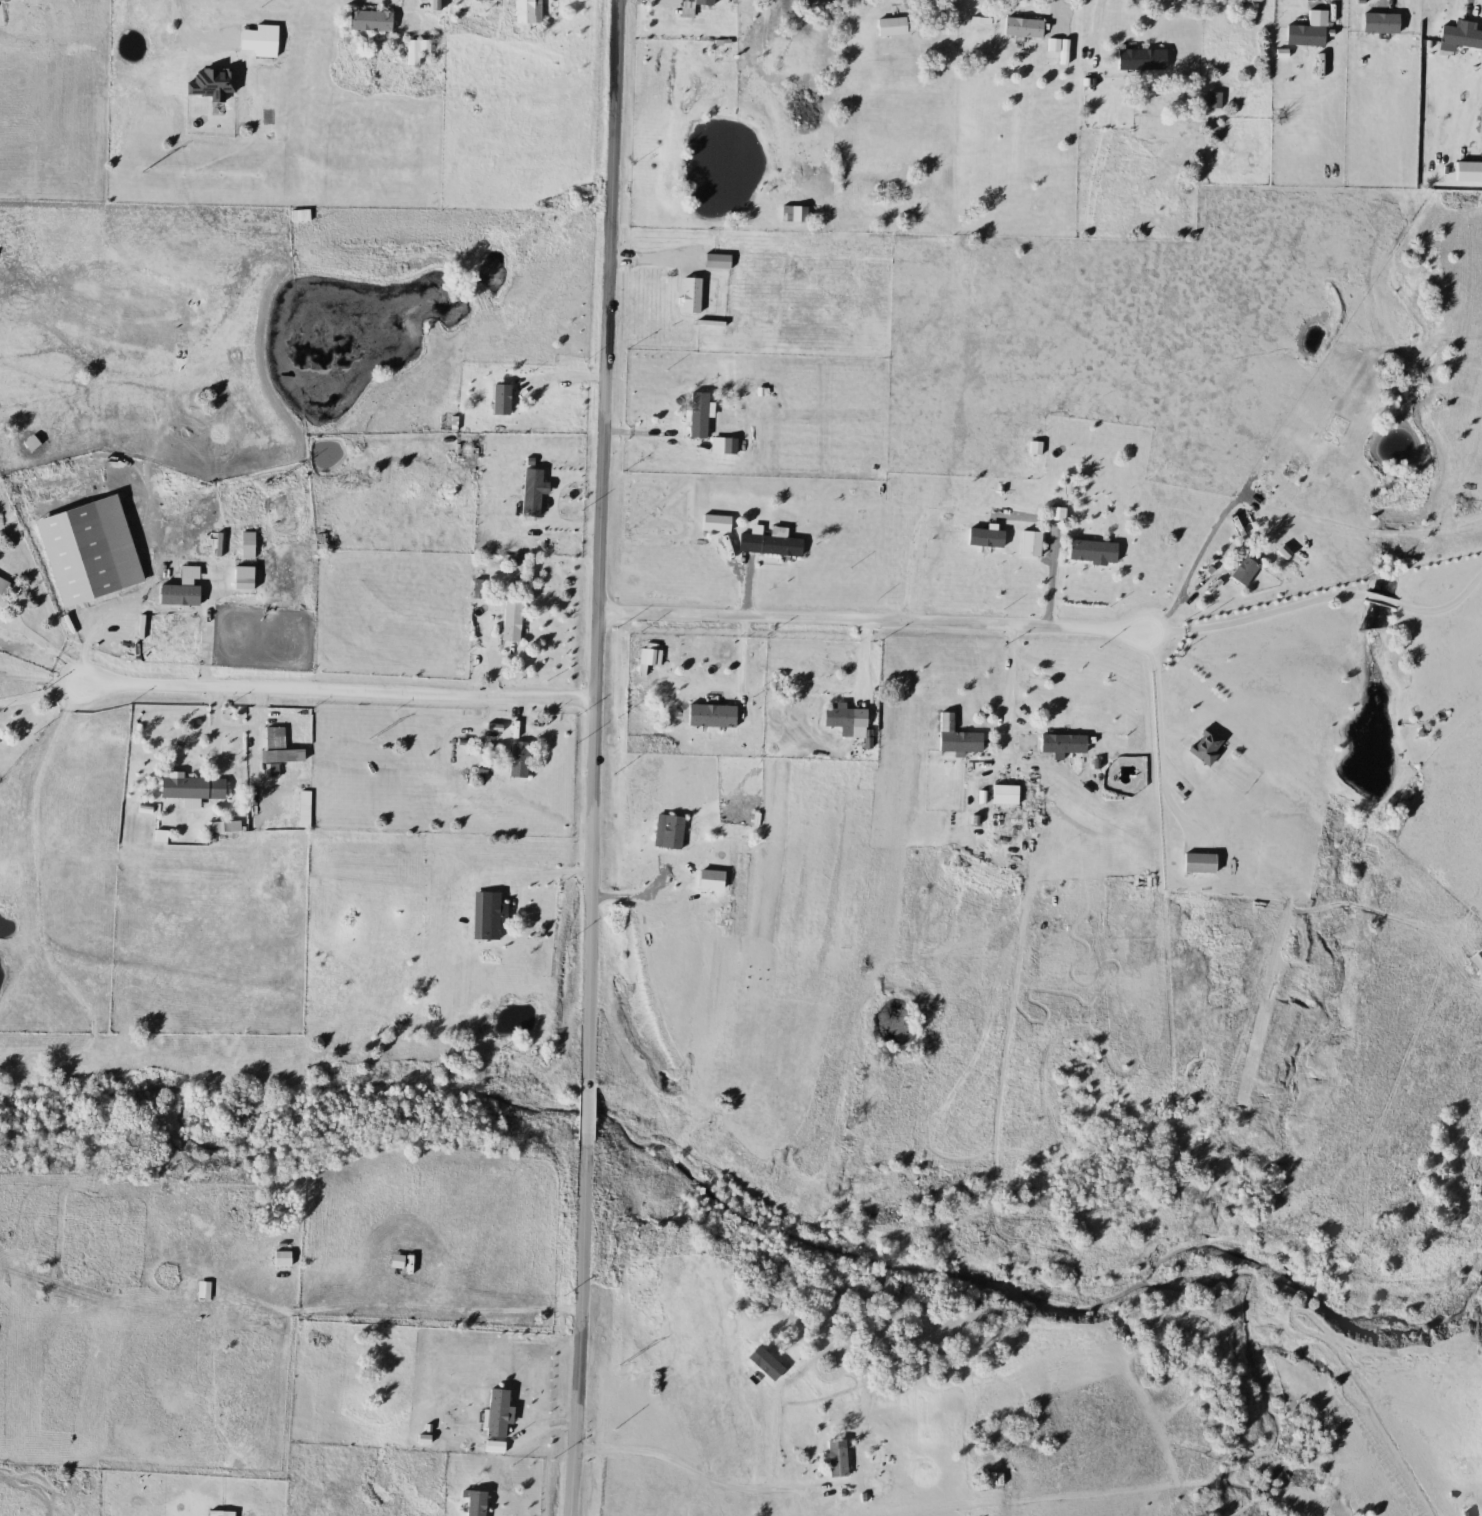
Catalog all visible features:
building: (432, 5)
building: (702, 5)
road: (417, 7)
building: (522, 8)
road: (1472, 12)
road: (1340, 14)
road: (1059, 16)
road: (190, 19)
building: (367, 21)
road: (1095, 23)
building: (888, 27)
building: (1020, 28)
building: (1307, 35)
building: (1458, 39)
building: (216, 43)
building: (1052, 45)
building: (414, 51)
building: (1139, 59)
building: (298, 216)
building: (743, 288)
building: (688, 295)
building: (499, 399)
building: (694, 410)
building: (530, 492)
building: (765, 544)
building: (1026, 544)
building: (1089, 552)
building: (322, 557)
road: (1198, 561)
building: (1241, 572)
road: (1379, 599)
road: (1445, 608)
road: (1256, 616)
building: (509, 621)
road: (869, 623)
road: (214, 636)
road: (46, 656)
road: (865, 672)
road: (1012, 680)
road: (1159, 688)
road: (341, 695)
road: (42, 697)
building: (708, 715)
building: (835, 717)
building: (272, 739)
building: (957, 743)
building: (1051, 744)
building: (1203, 747)
road: (598, 758)
building: (517, 761)
building: (179, 787)
building: (994, 795)
building: (222, 827)
building: (1195, 864)
road: (552, 876)
road: (674, 897)
building: (486, 916)
building: (1477, 961)
building: (202, 1291)
road: (430, 1307)
building: (495, 1413)
road: (781, 1433)
building: (834, 1459)
road: (693, 1469)
building: (473, 1503)

